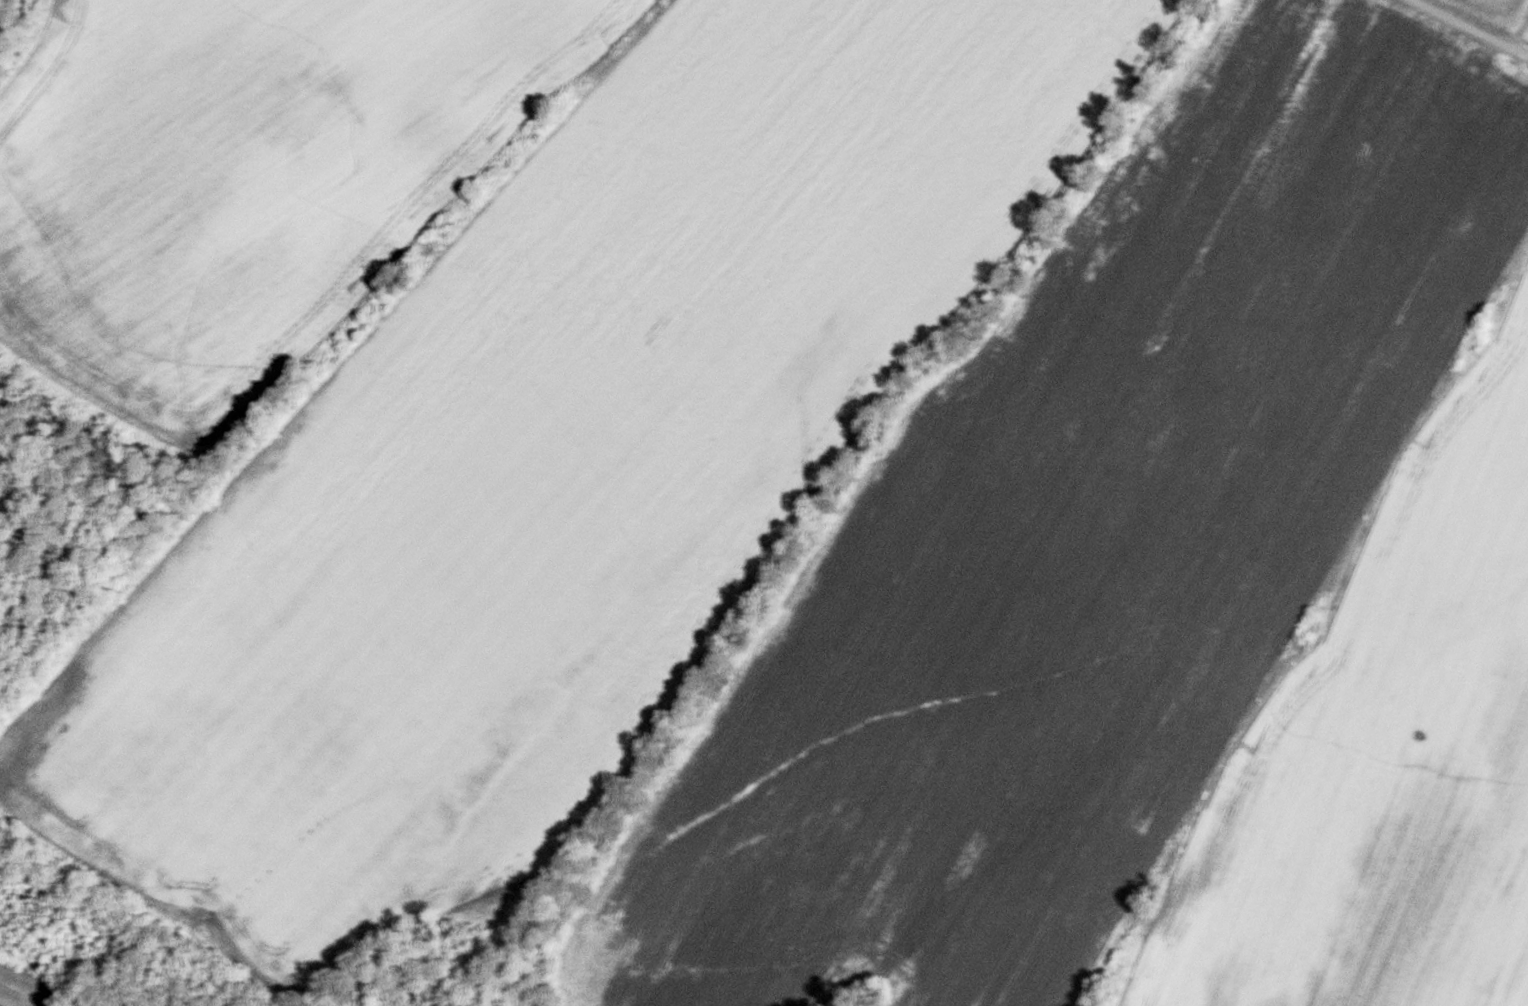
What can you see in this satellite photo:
road: (1473, 27)

